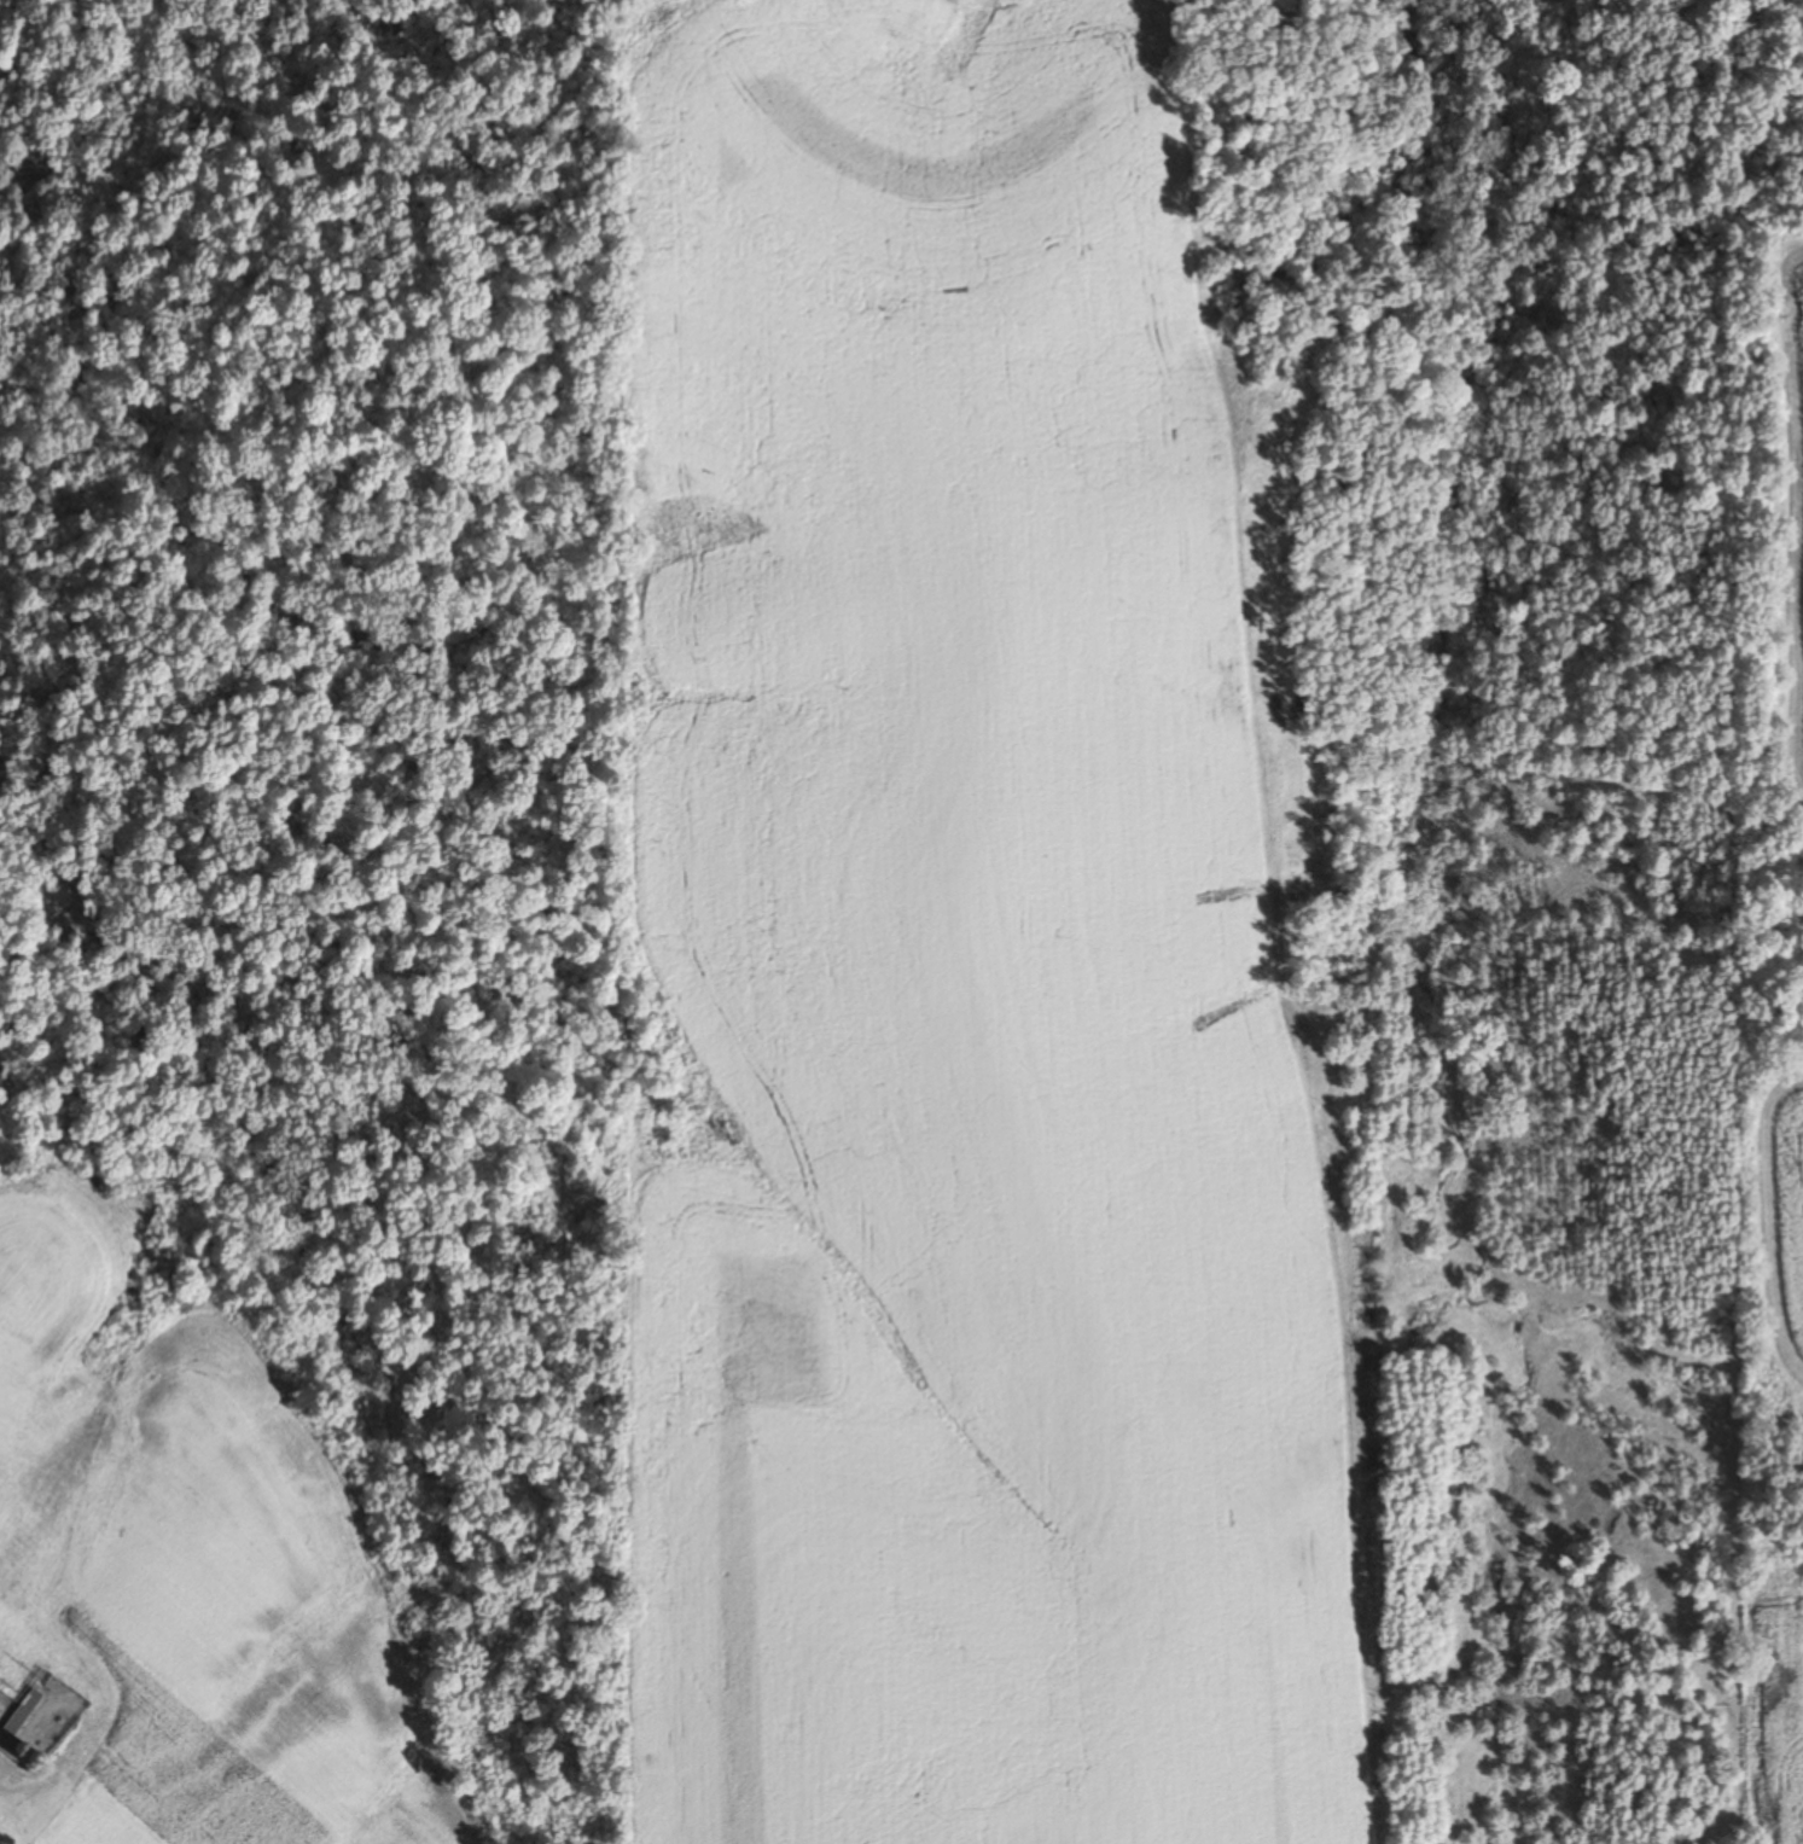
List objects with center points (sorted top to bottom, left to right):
building: (18, 1727)

